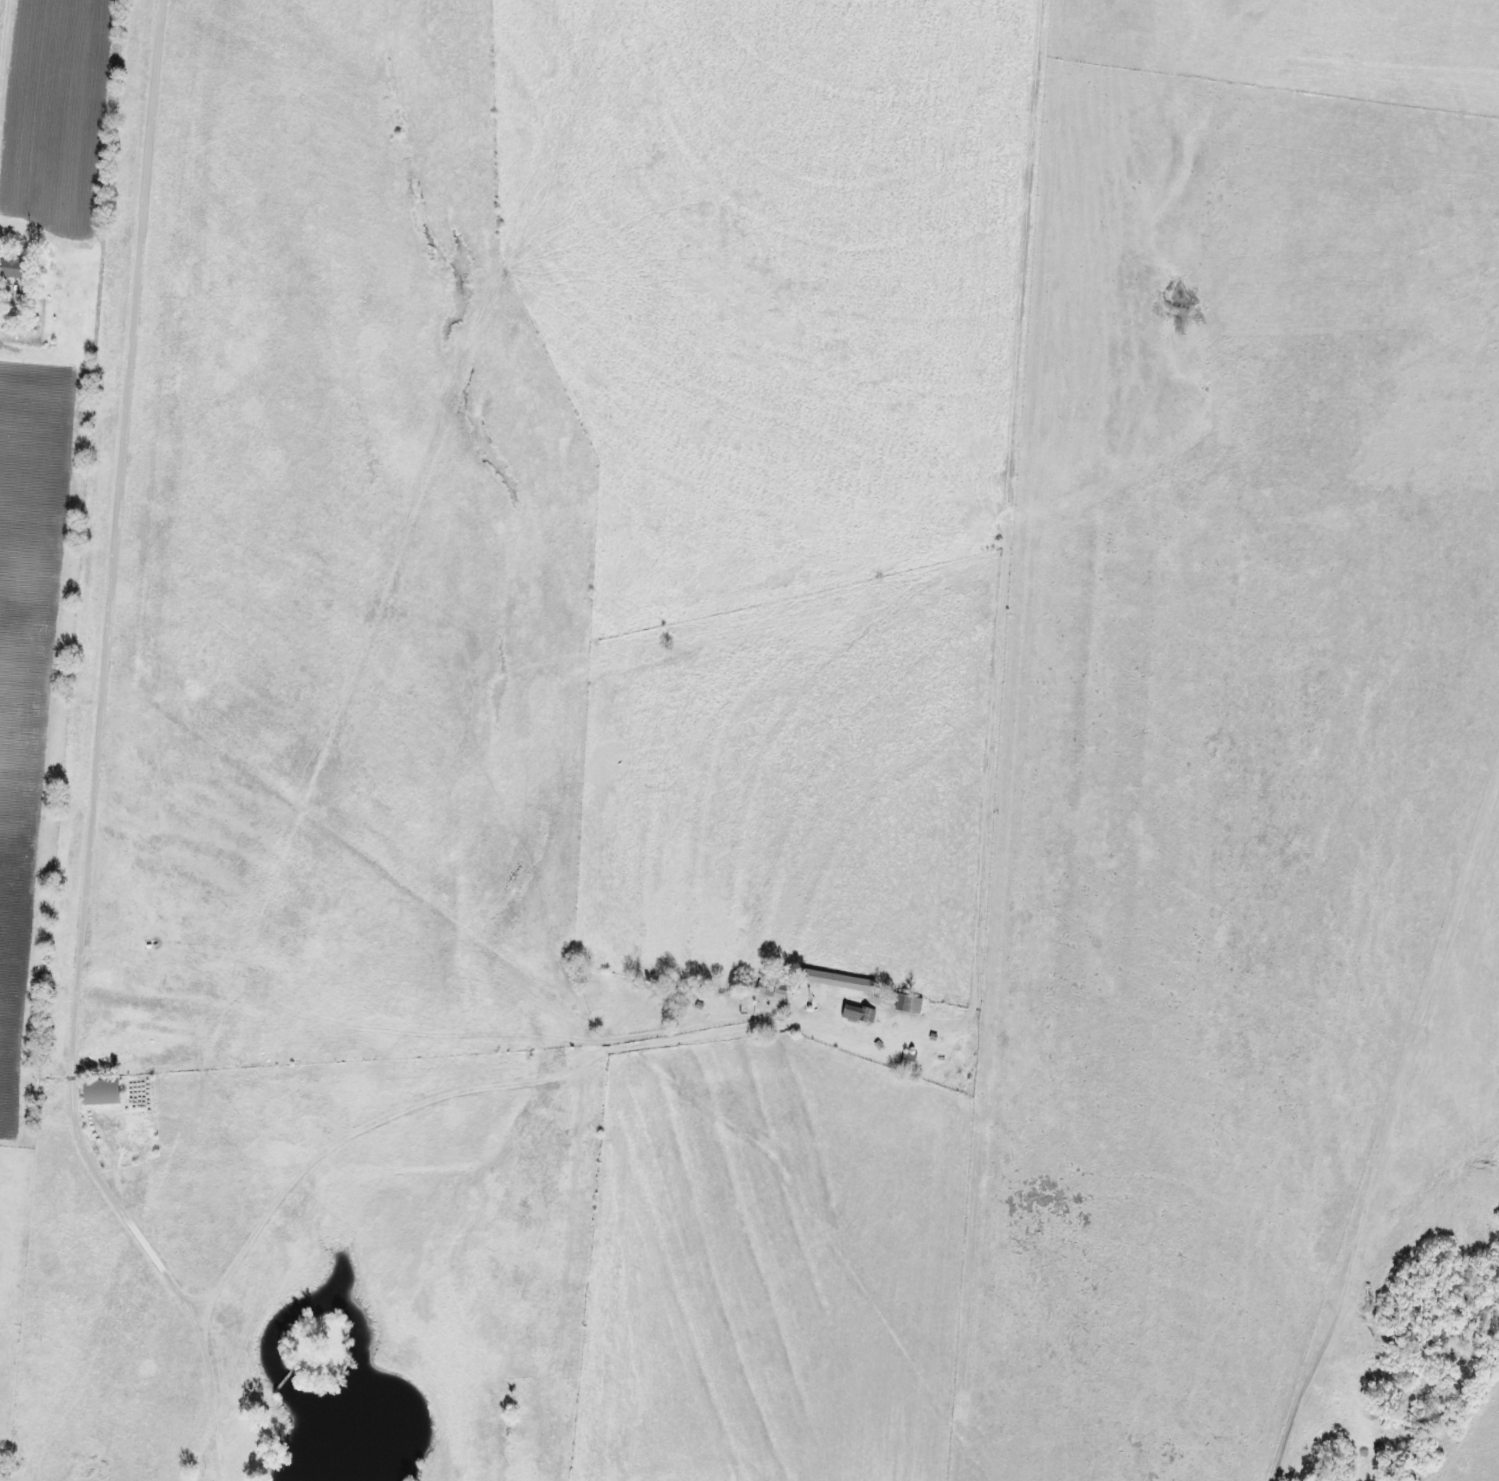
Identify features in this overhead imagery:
road: (3, 27)
building: (11, 267)

